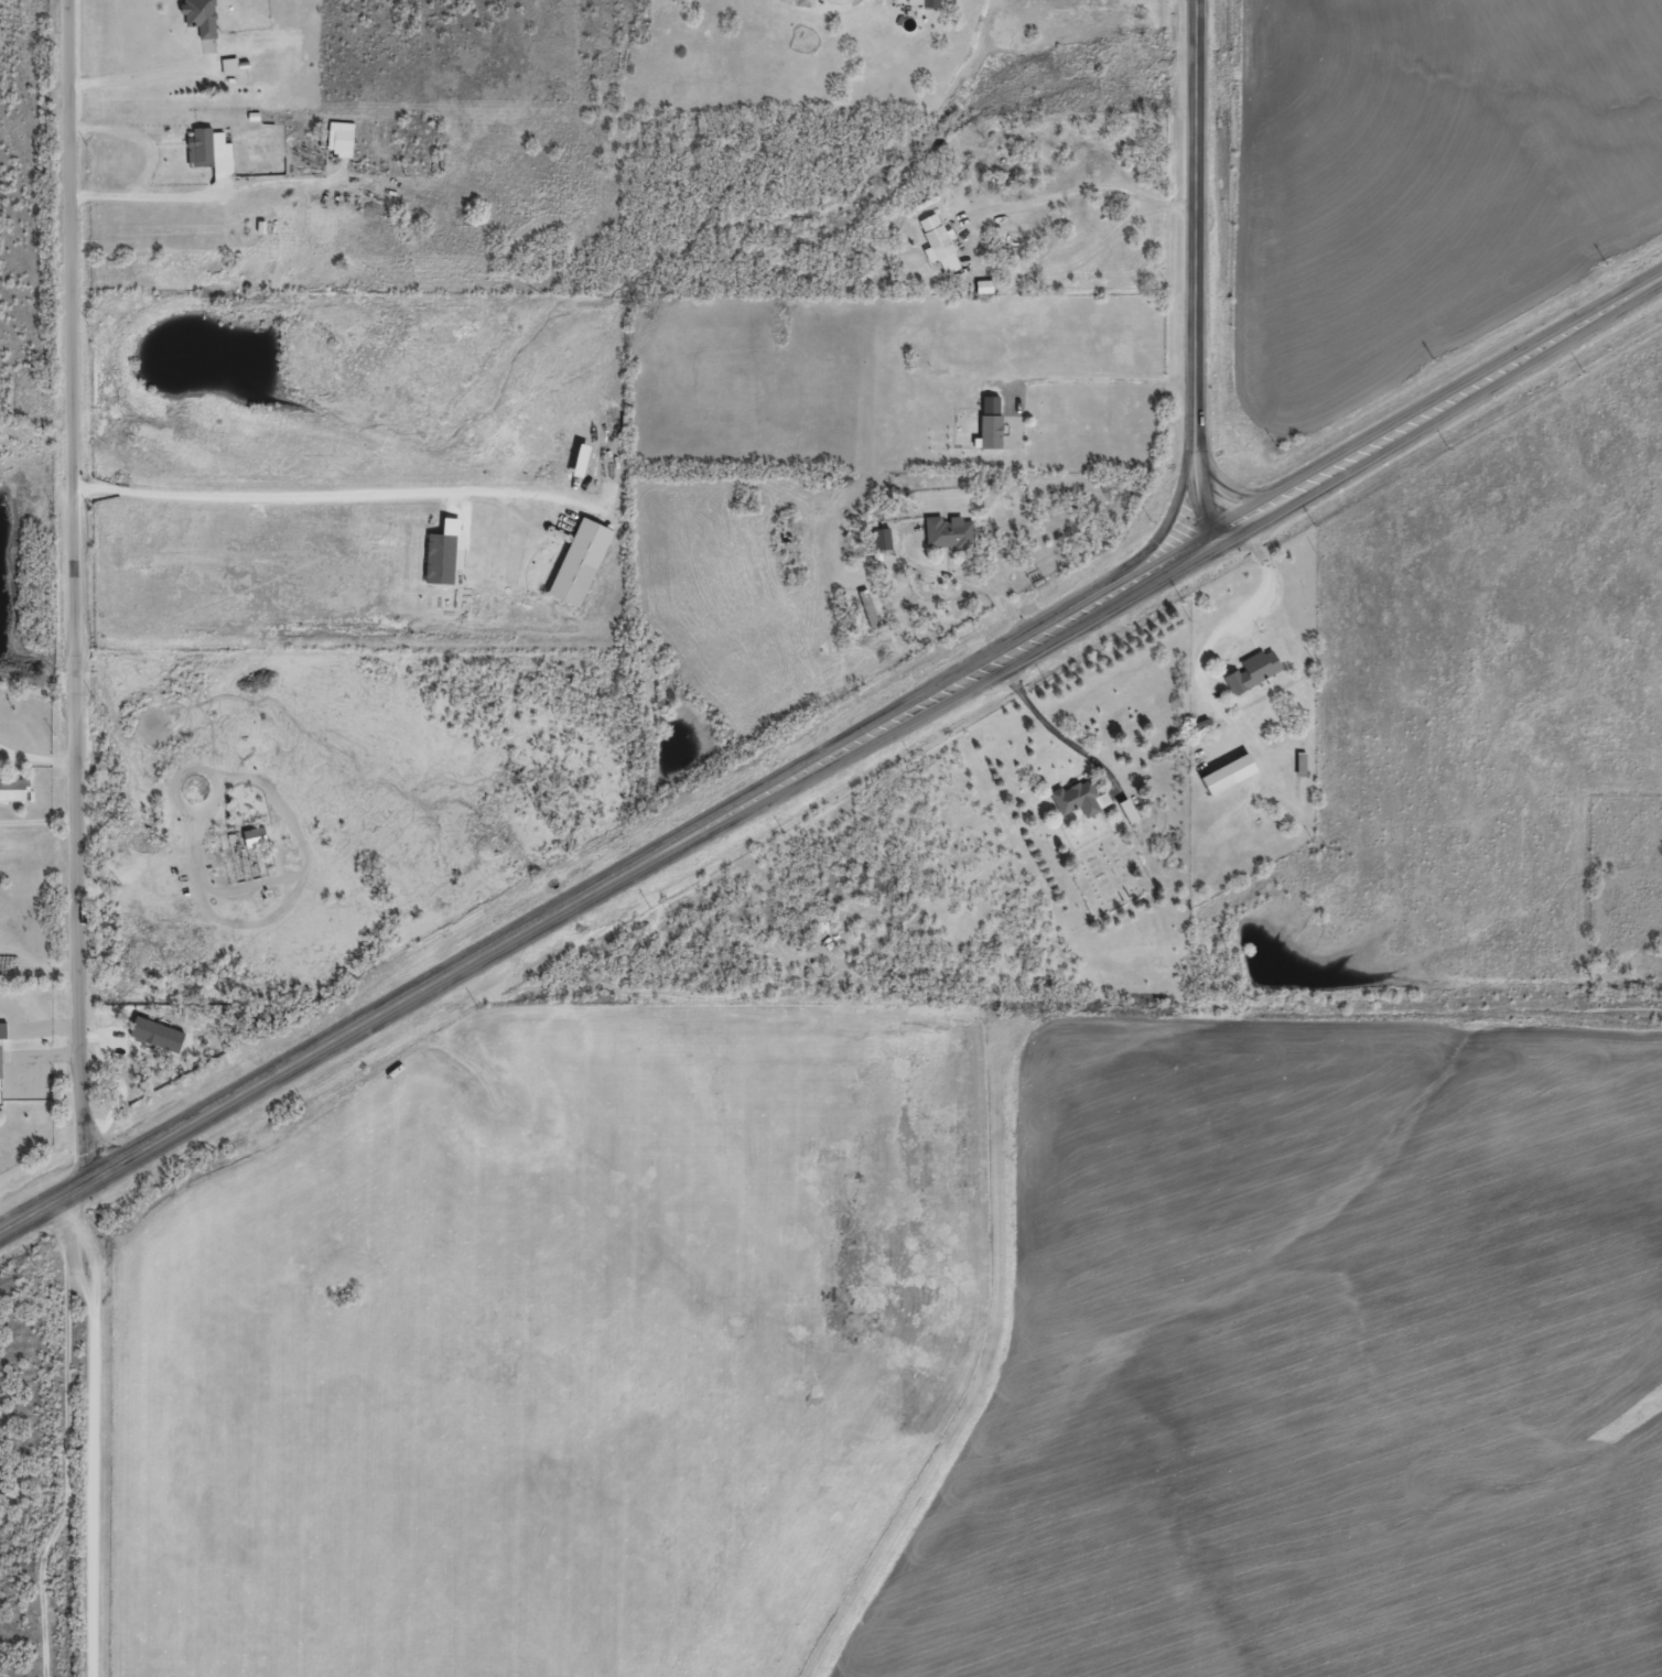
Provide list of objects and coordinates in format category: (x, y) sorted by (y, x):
building: (924, 7)
building: (198, 22)
building: (228, 74)
building: (338, 147)
building: (208, 159)
building: (938, 251)
road: (1195, 270)
building: (989, 411)
building: (989, 439)
road: (313, 500)
building: (947, 540)
building: (881, 545)
building: (581, 559)
road: (76, 596)
building: (1252, 679)
road: (827, 758)
building: (1301, 771)
building: (1228, 781)
building: (14, 788)
building: (1080, 797)
building: (255, 836)
building: (2, 1030)
building: (0, 1064)
road: (96, 1430)

